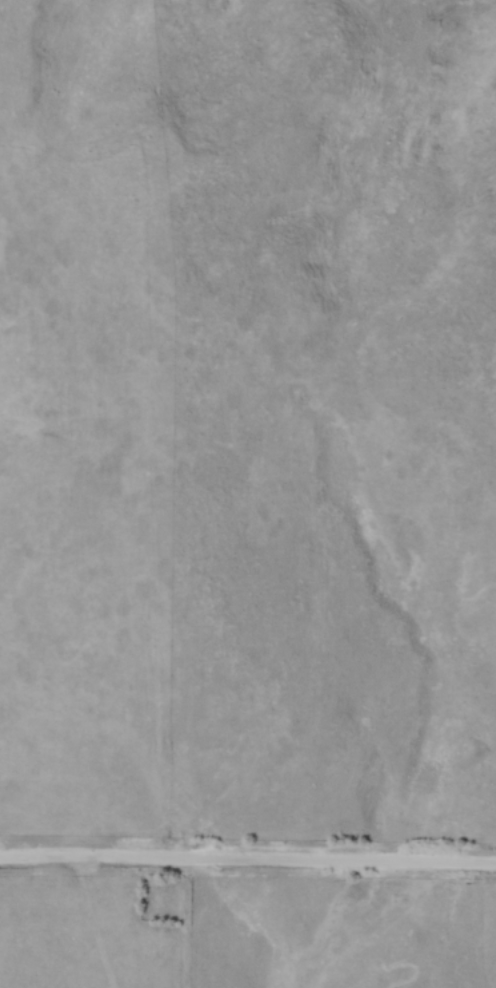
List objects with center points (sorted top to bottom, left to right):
road: (248, 857)

